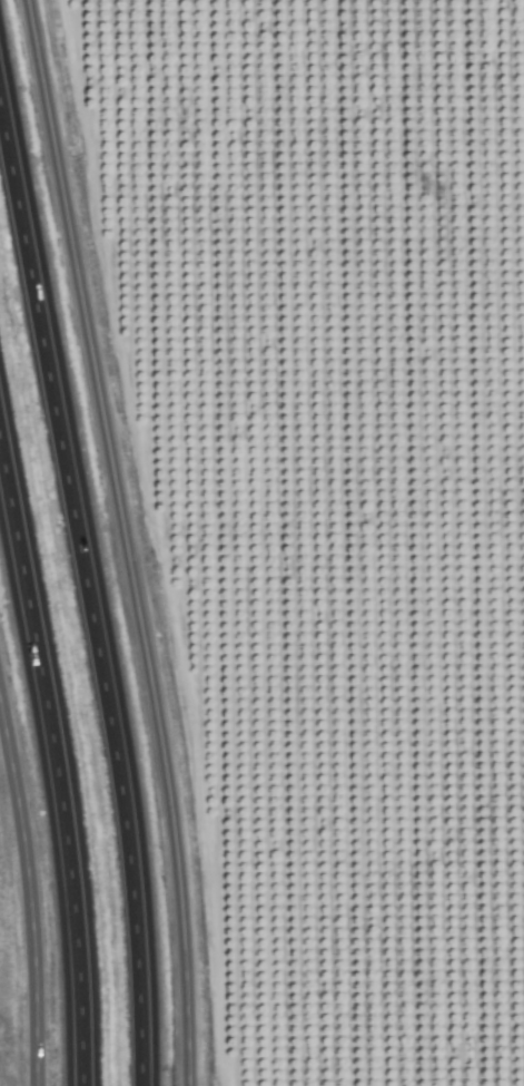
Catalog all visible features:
road: (121, 540)
road: (86, 599)
road: (55, 770)
road: (27, 909)

